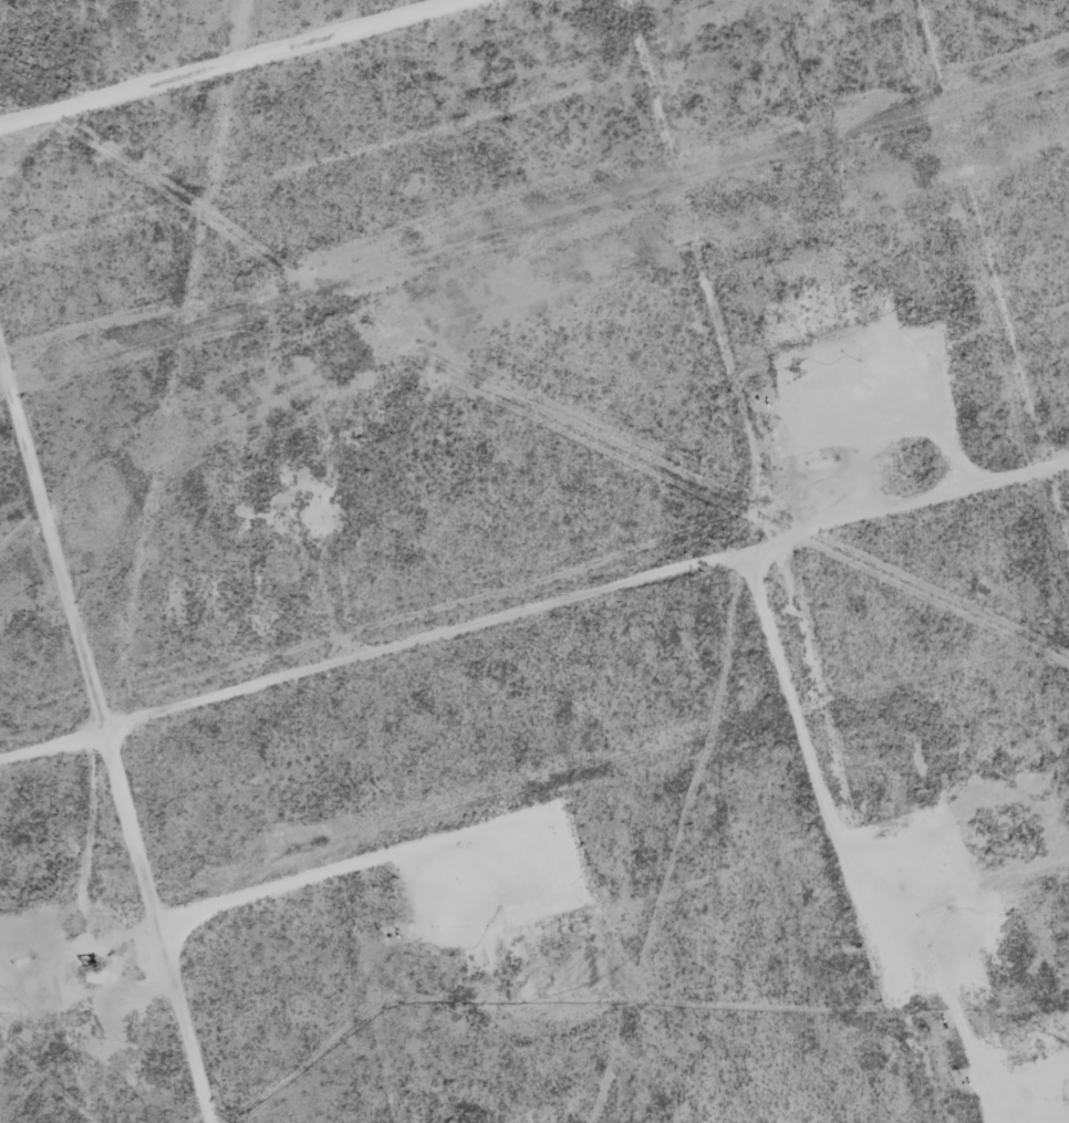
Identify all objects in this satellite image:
road: (259, 71)
road: (75, 844)

